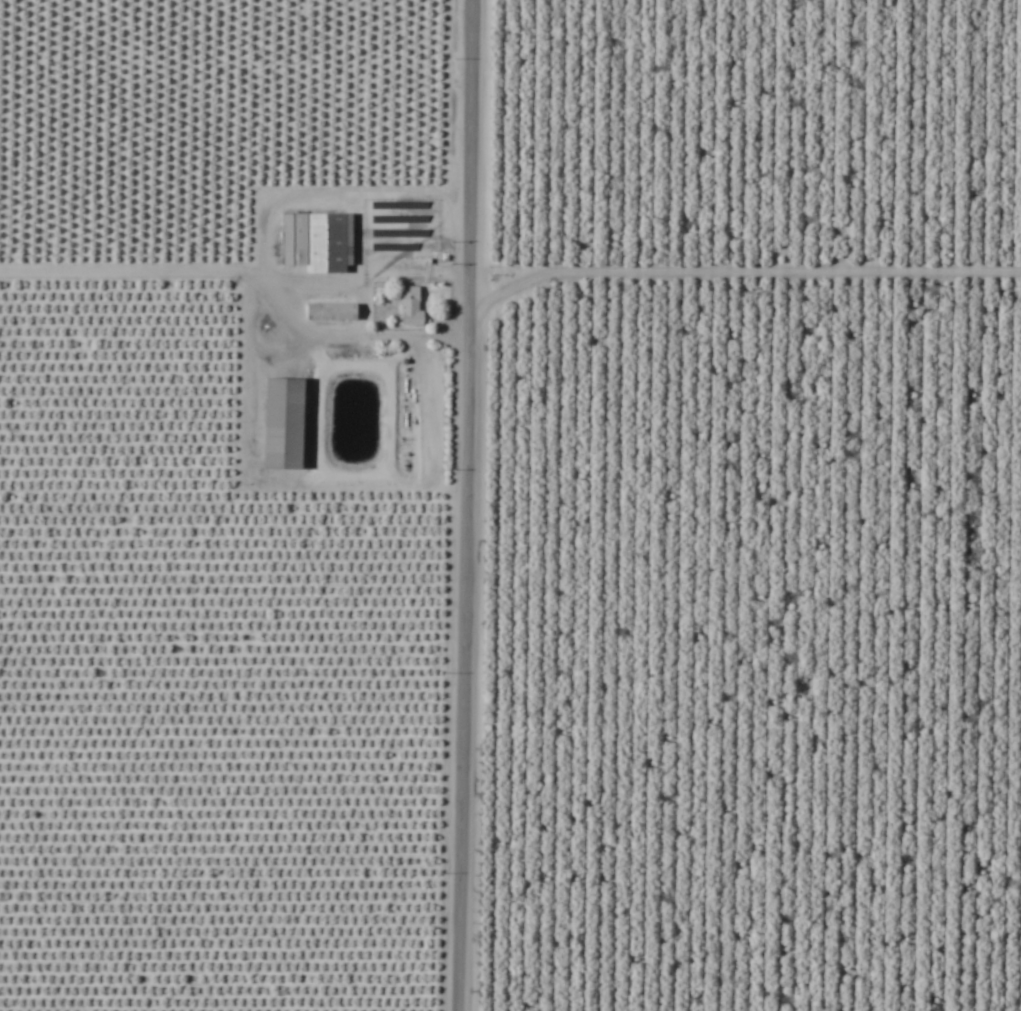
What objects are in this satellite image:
building: (317, 242)
building: (410, 306)
building: (284, 424)
road: (466, 505)
crop: (510, 505)

